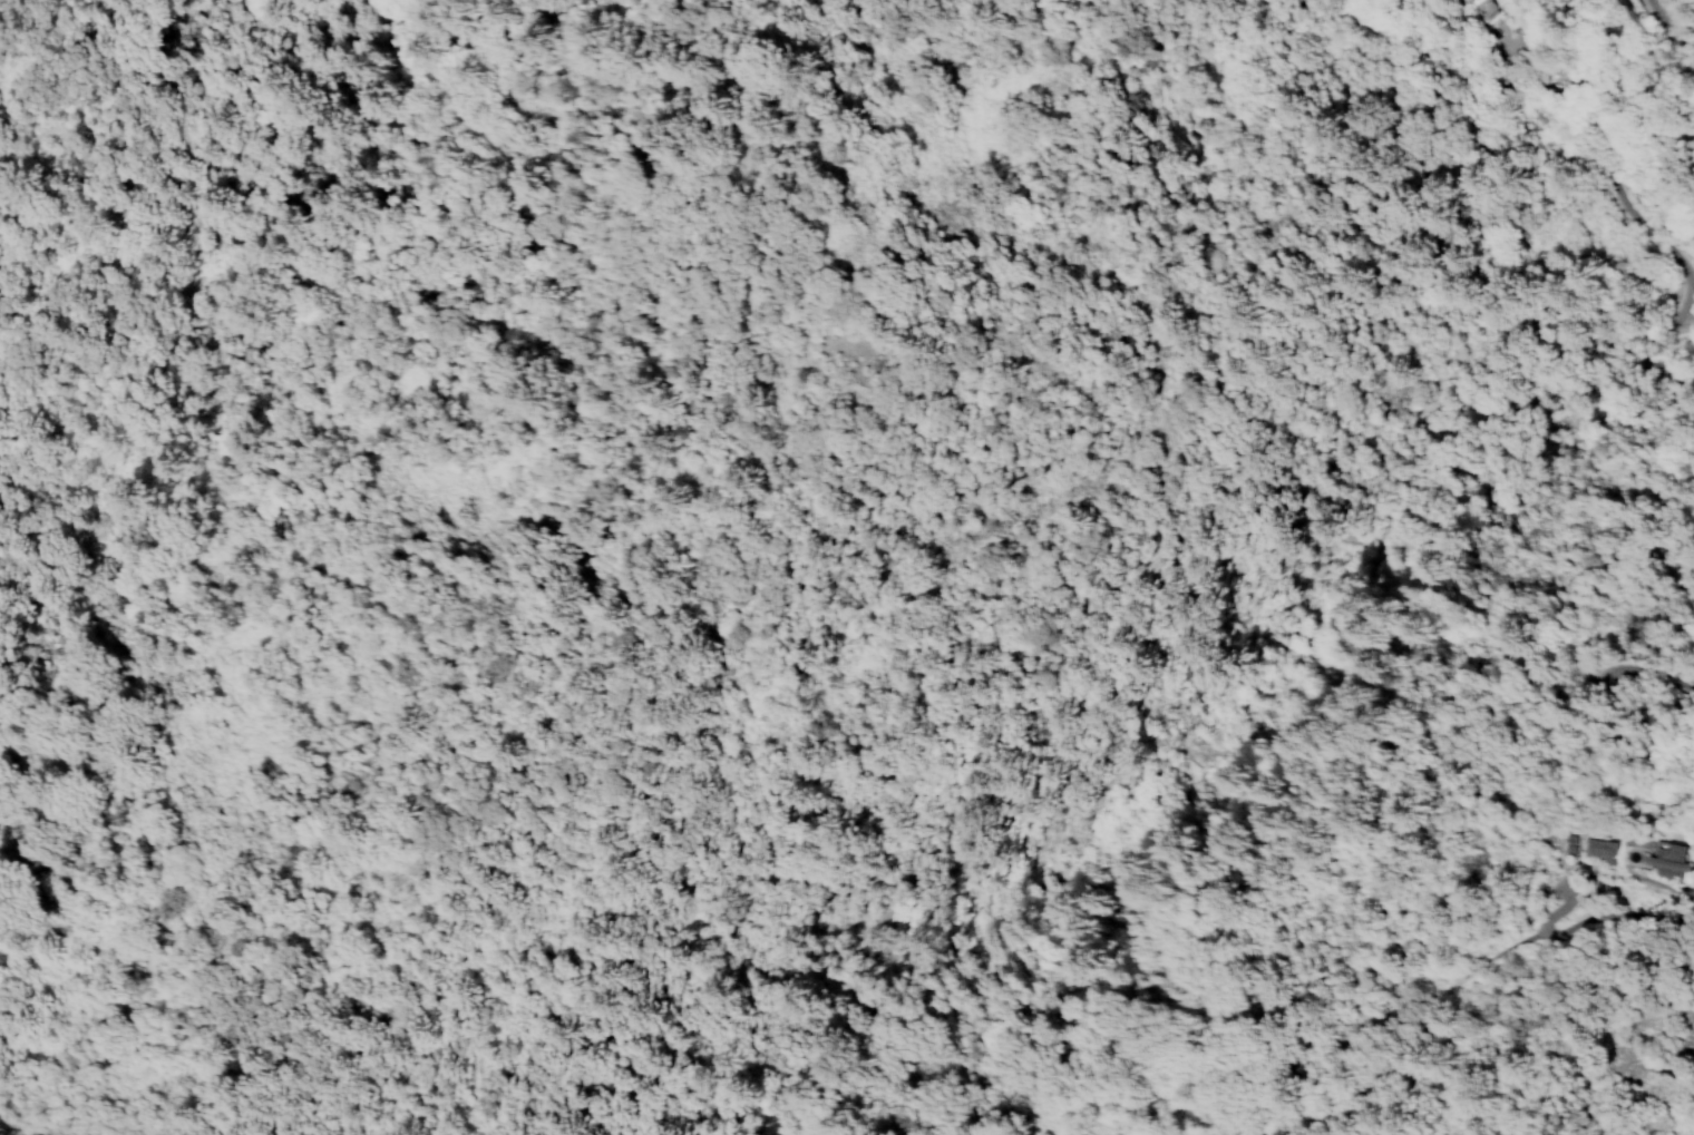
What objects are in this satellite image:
building: (1481, 8)
road: (1587, 10)
road: (1666, 35)
road: (1585, 36)
road: (1610, 178)
road: (1649, 336)
road: (1213, 478)
building: (1568, 845)
building: (1598, 850)
building: (1669, 863)
road: (1682, 890)
road: (473, 1046)
road: (275, 1094)

